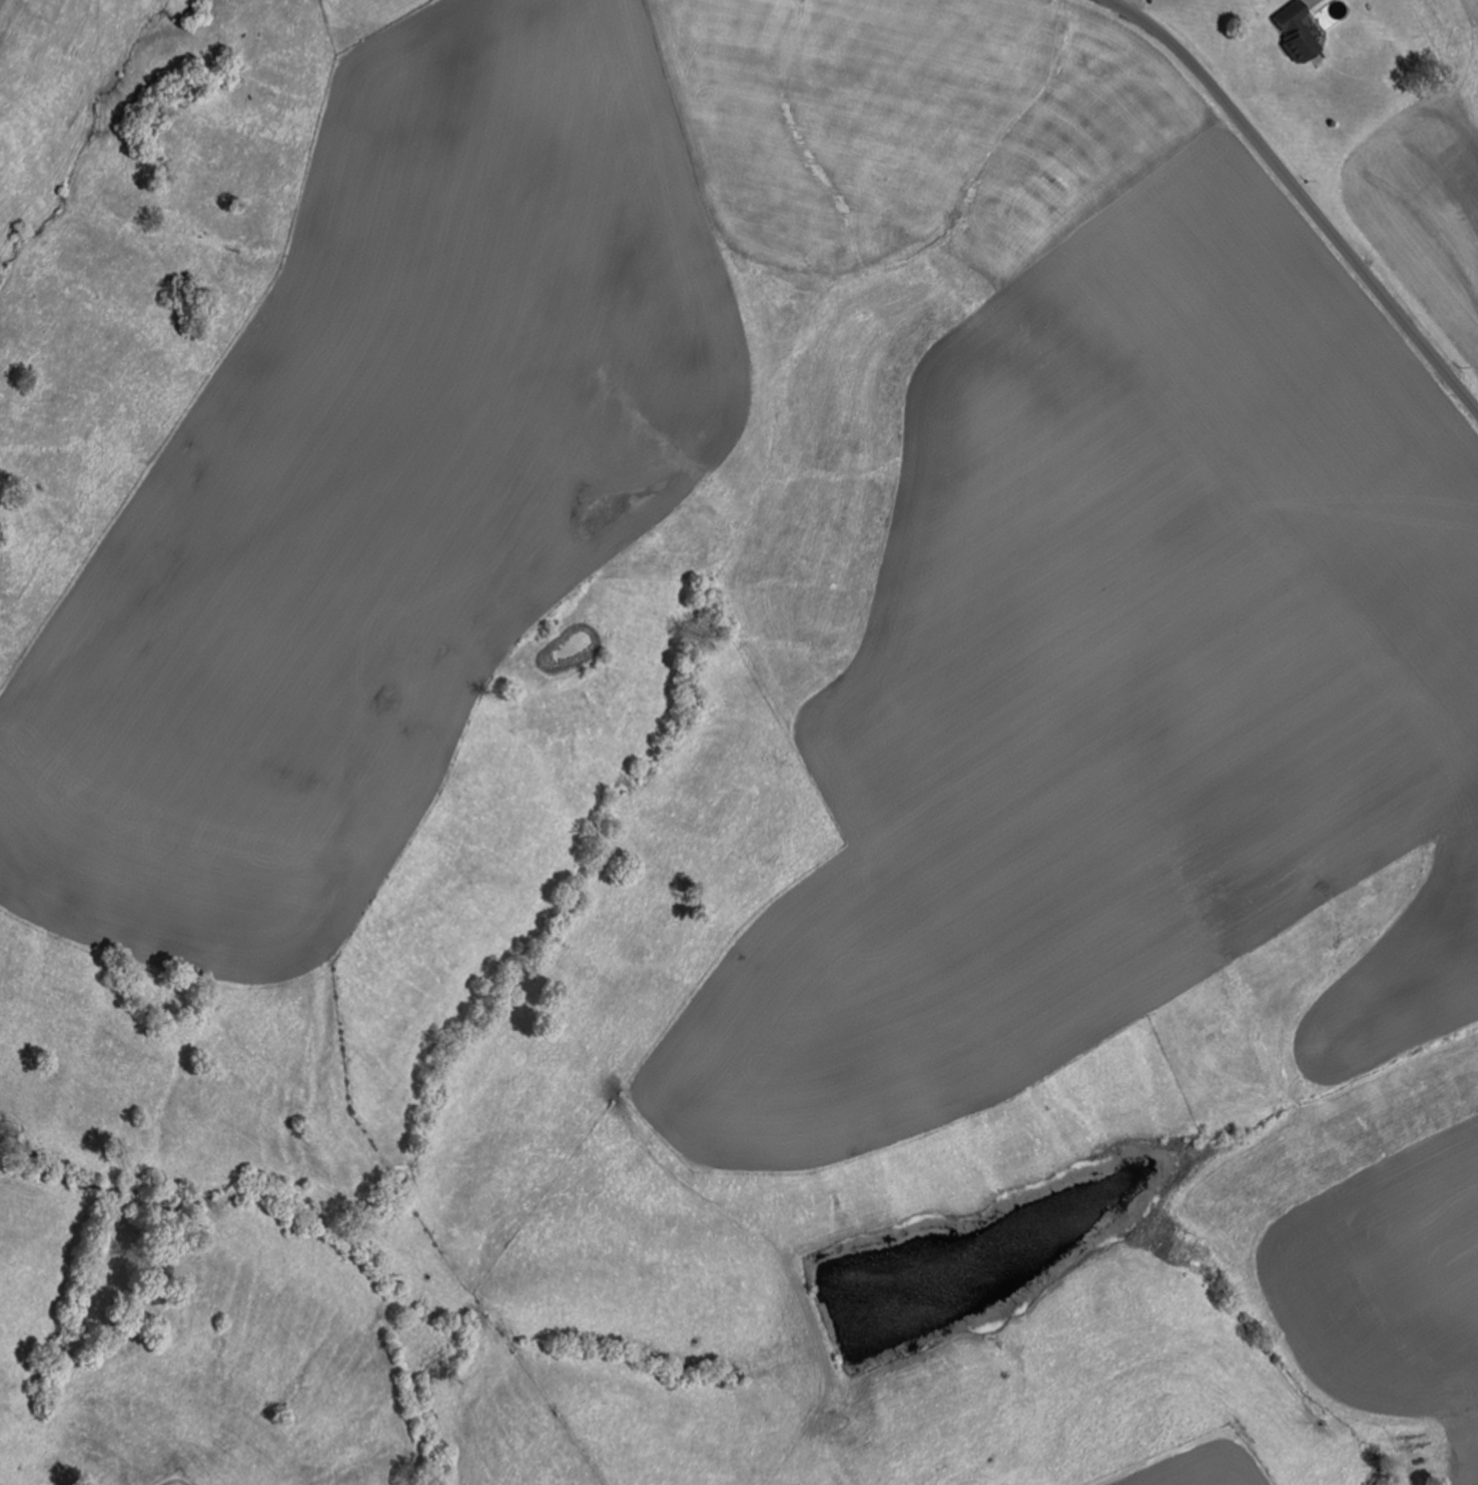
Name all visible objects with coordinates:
road: (1134, 5)
building: (1298, 34)
road: (1302, 194)

